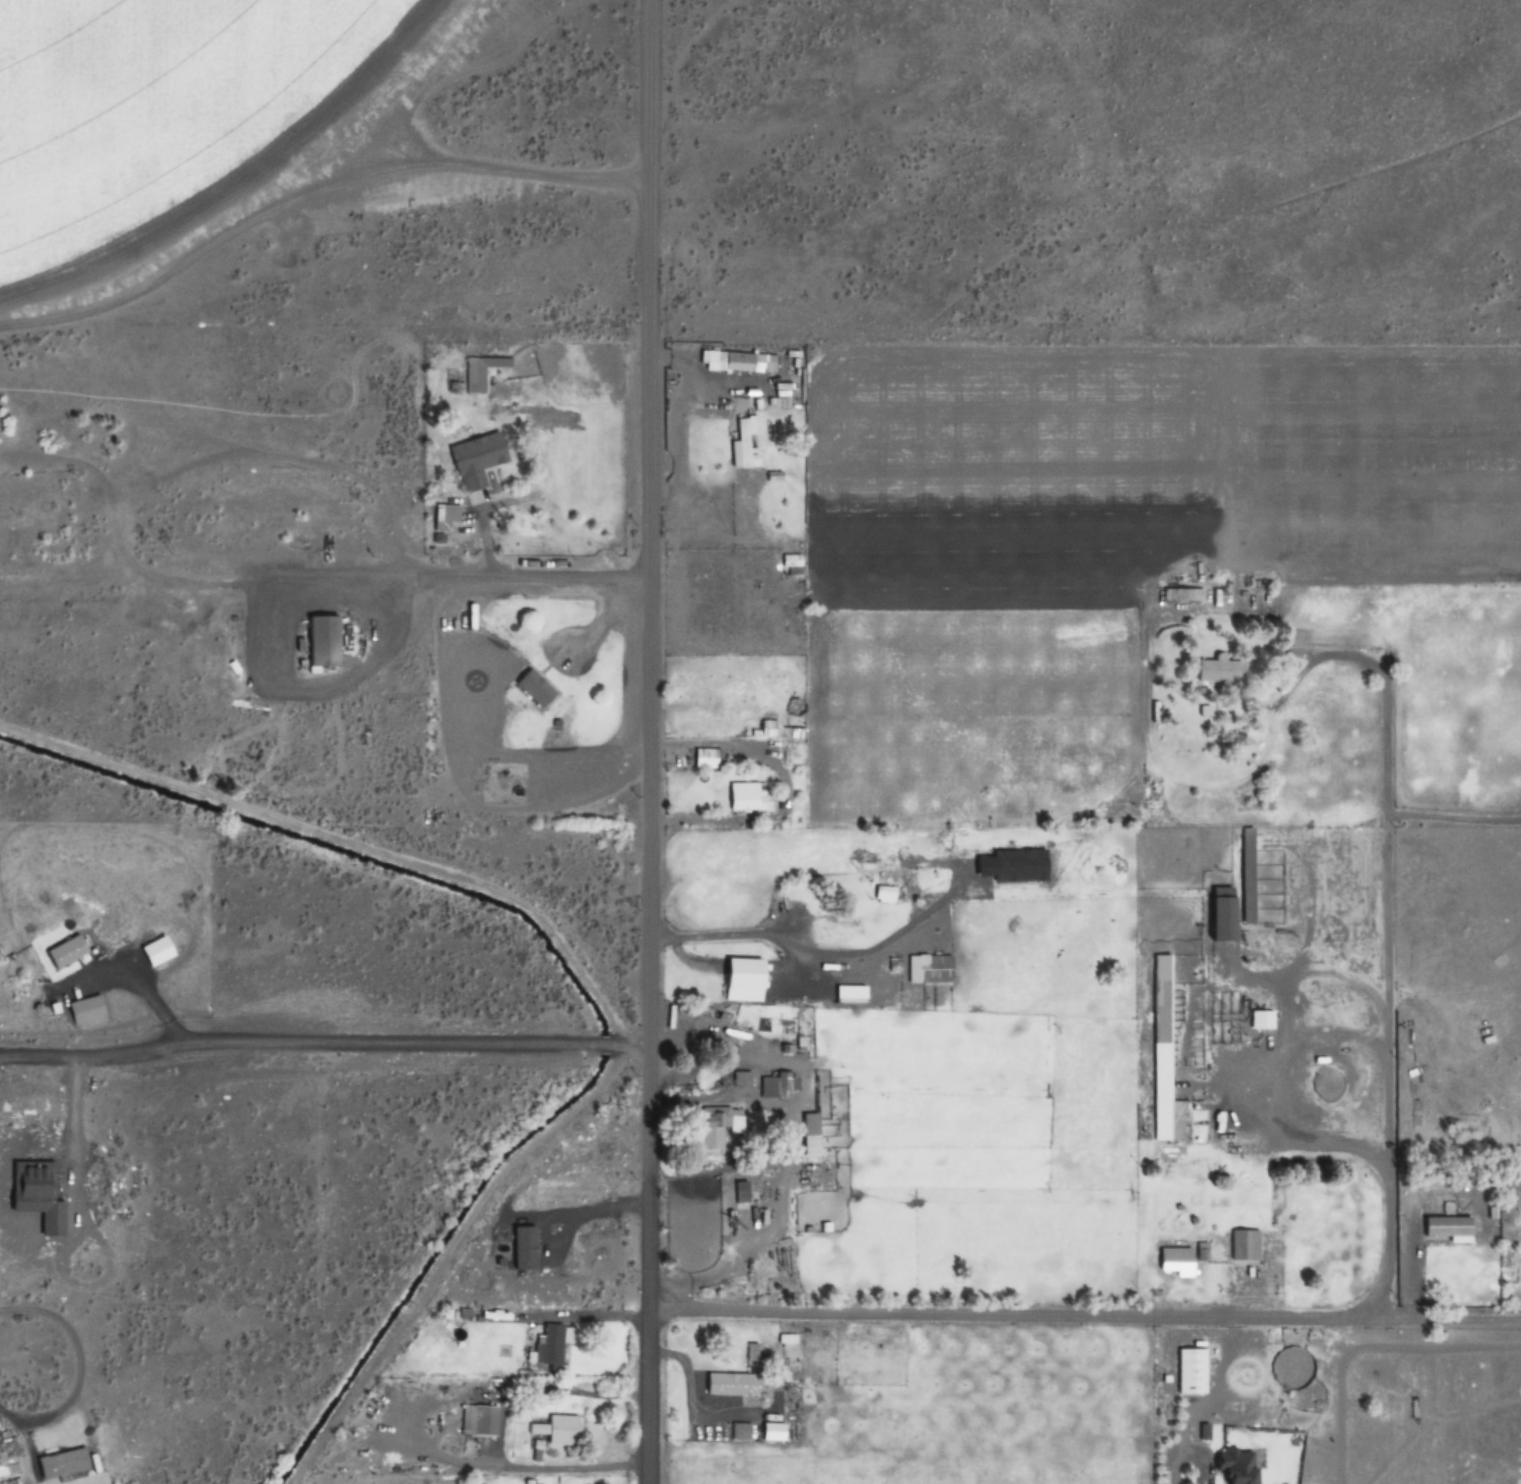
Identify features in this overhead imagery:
building: (738, 362)
building: (480, 372)
building: (746, 444)
building: (474, 459)
building: (445, 516)
building: (791, 564)
building: (1184, 594)
building: (312, 638)
road: (648, 656)
building: (1221, 668)
building: (535, 688)
crop: (1137, 741)
building: (705, 758)
building: (747, 796)
road: (1382, 820)
building: (1246, 875)
building: (1219, 913)
building: (843, 927)
building: (156, 951)
building: (66, 952)
building: (930, 969)
building: (741, 980)
building: (87, 1010)
building: (1261, 1020)
building: (729, 1030)
building: (1167, 1058)
building: (741, 1079)
building: (775, 1088)
building: (809, 1125)
building: (717, 1126)
road: (1382, 1163)
building: (1182, 1172)
building: (743, 1192)
building: (1447, 1229)
building: (1246, 1245)
building: (1176, 1263)
road: (1086, 1313)
building: (464, 1314)
building: (788, 1339)
building: (550, 1346)
building: (753, 1353)
building: (1191, 1371)
building: (730, 1380)
road: (652, 1398)
building: (478, 1420)
building: (558, 1430)
building: (742, 1431)
building: (63, 1462)
building: (1237, 1470)

